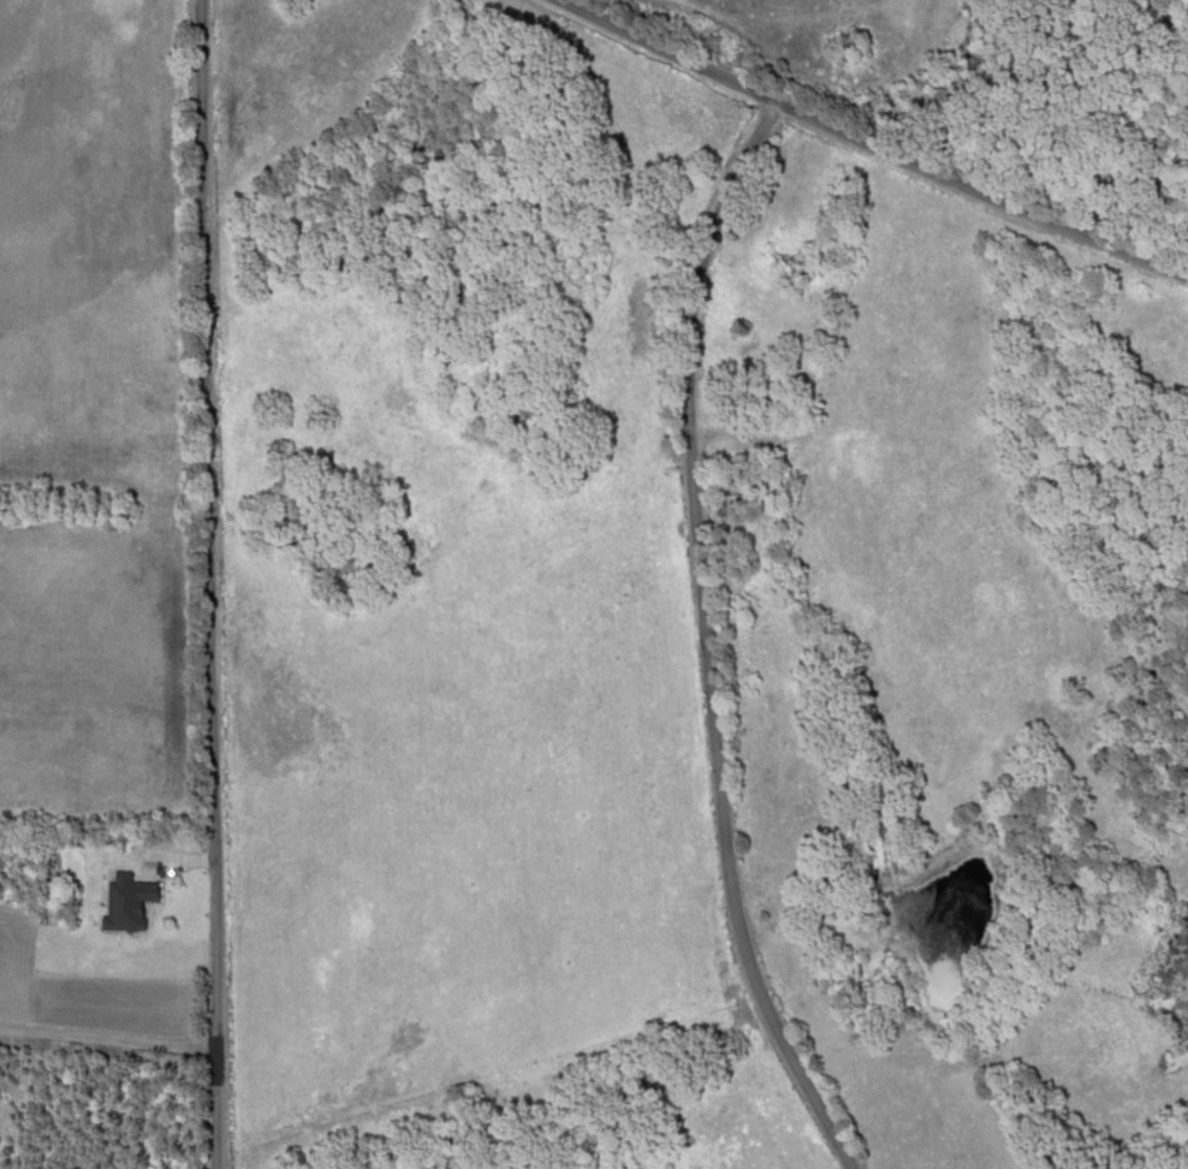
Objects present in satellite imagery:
road: (873, 137)
road: (207, 584)
road: (701, 637)
building: (141, 891)
road: (106, 1039)

